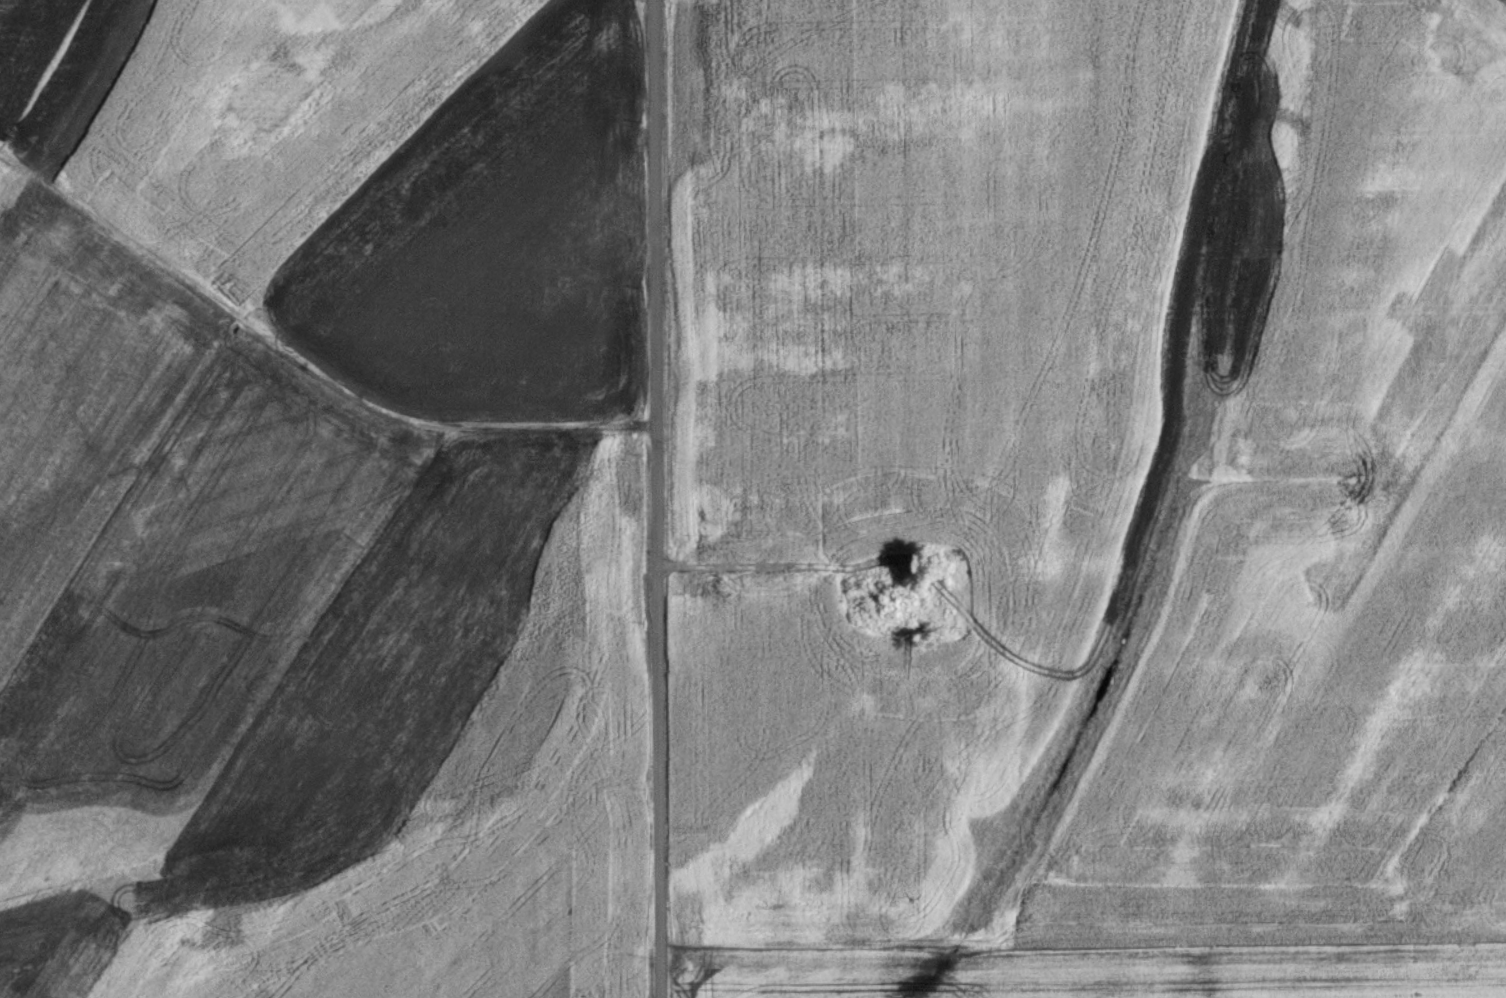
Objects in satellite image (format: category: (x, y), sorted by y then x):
road: (656, 499)

